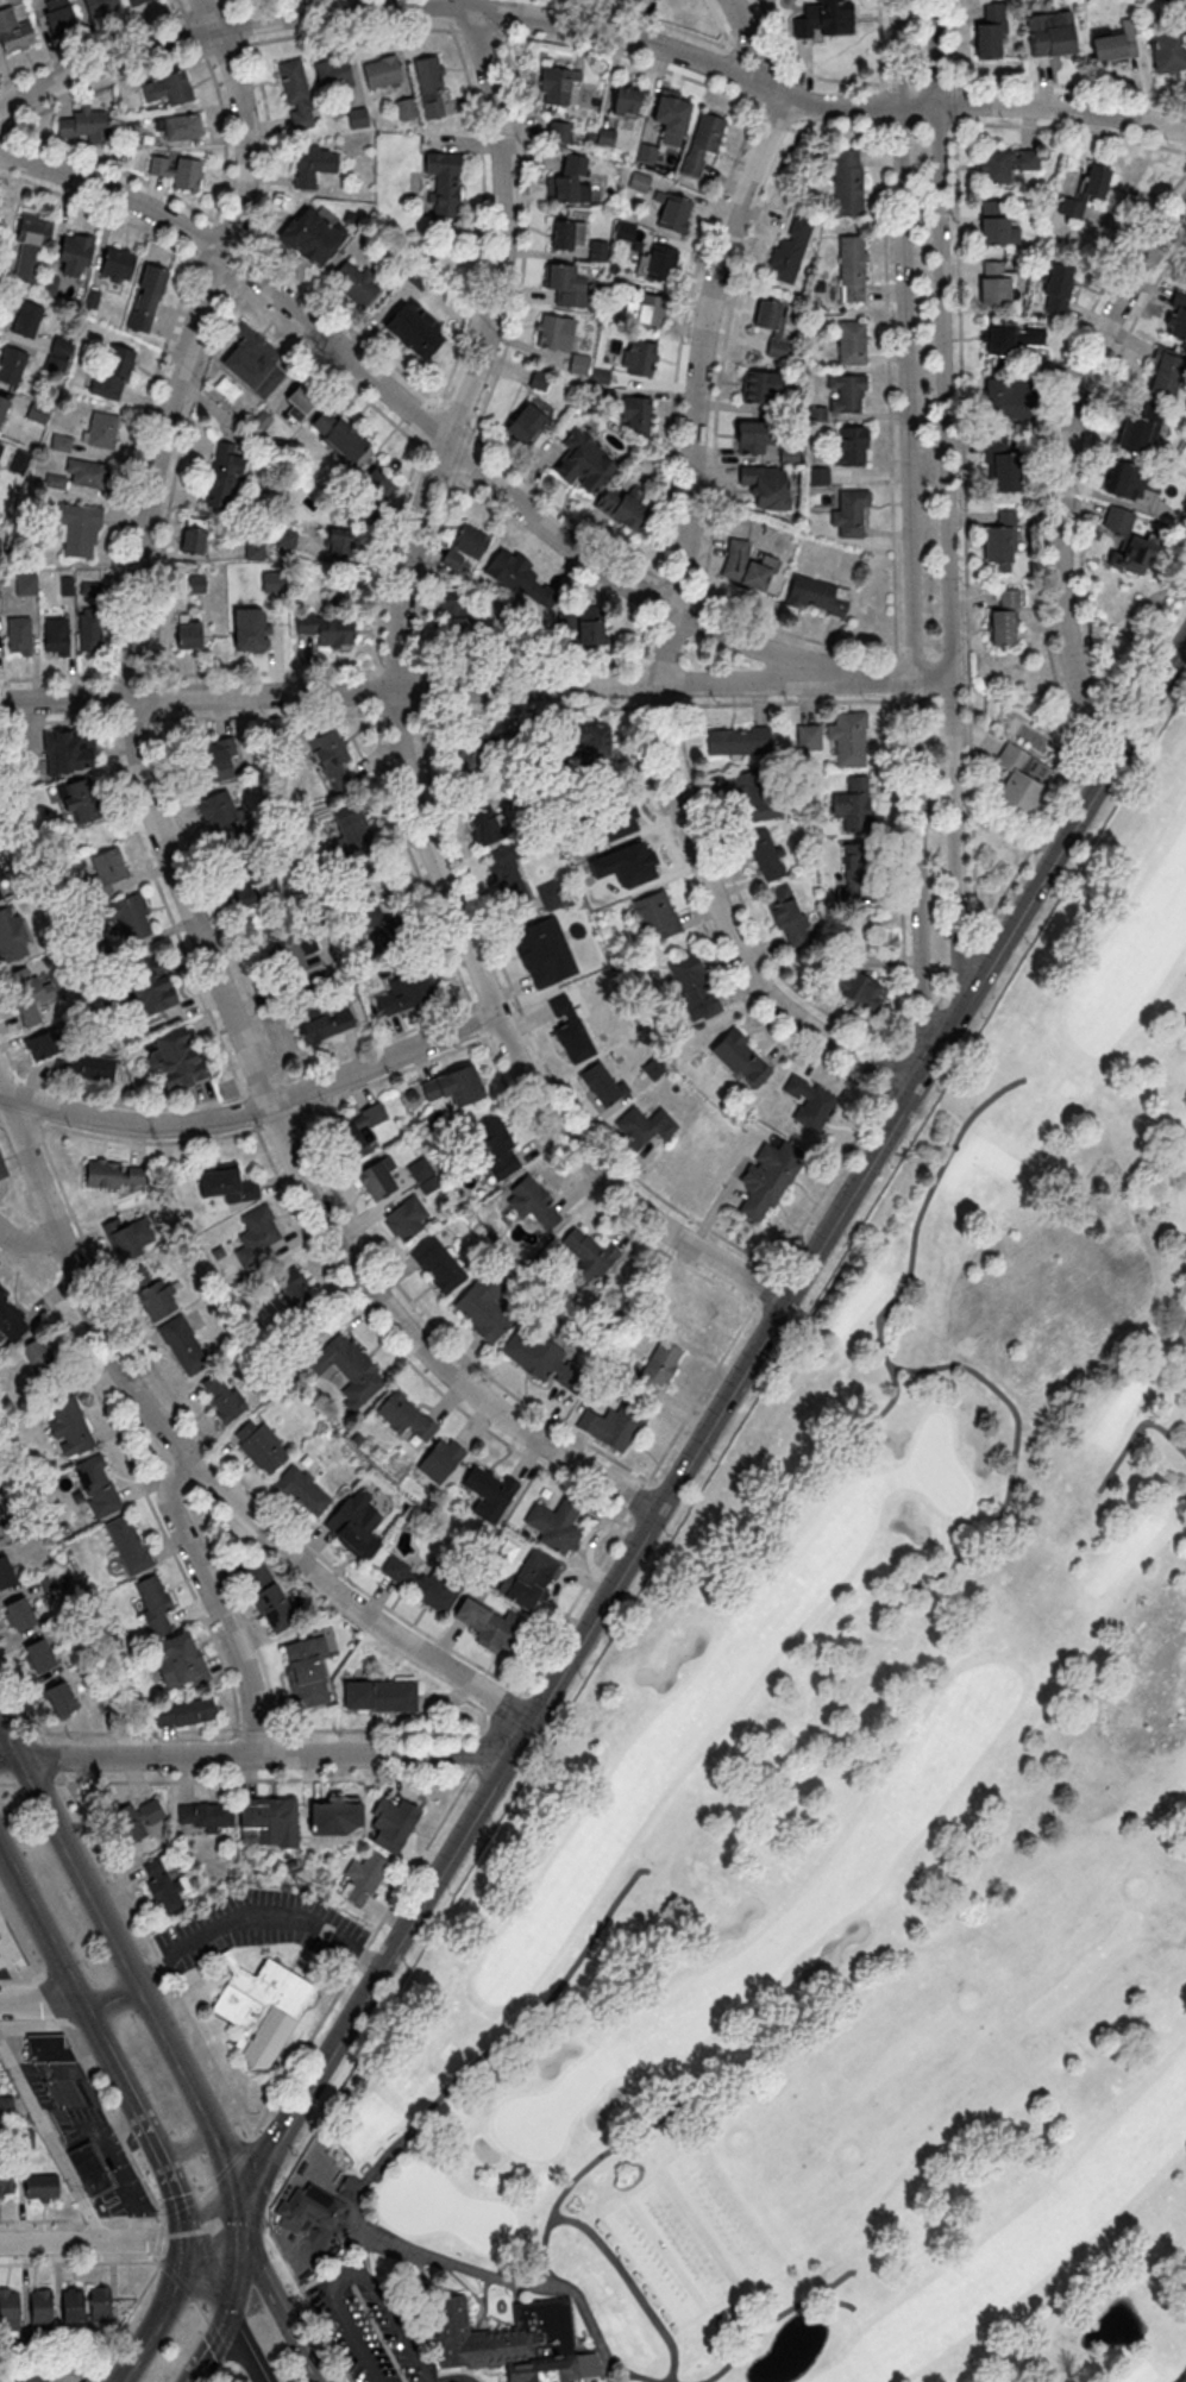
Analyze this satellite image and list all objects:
building: (133, 1)
road: (233, 2)
building: (99, 7)
road: (202, 8)
road: (181, 10)
road: (444, 10)
building: (830, 10)
road: (492, 11)
building: (57, 14)
road: (652, 18)
road: (350, 29)
road: (476, 31)
road: (592, 31)
building: (990, 31)
building: (13, 32)
road: (193, 32)
building: (1049, 32)
building: (1112, 40)
road: (92, 44)
road: (880, 44)
road: (954, 46)
road: (729, 48)
road: (227, 49)
building: (1168, 50)
road: (755, 51)
road: (783, 52)
building: (381, 71)
building: (332, 73)
road: (804, 73)
road: (918, 81)
road: (108, 83)
building: (558, 84)
road: (1067, 84)
building: (429, 86)
building: (167, 87)
building: (295, 93)
building: (625, 100)
road: (881, 105)
road: (956, 106)
building: (404, 107)
road: (2, 114)
building: (671, 115)
building: (357, 117)
road: (760, 117)
road: (777, 121)
building: (82, 124)
road: (917, 125)
building: (177, 126)
road: (268, 126)
road: (1068, 128)
road: (10, 130)
road: (795, 130)
building: (558, 131)
road: (225, 134)
building: (605, 137)
building: (702, 142)
road: (5, 147)
building: (646, 152)
building: (1004, 163)
building: (313, 164)
road: (120, 170)
building: (176, 170)
building: (570, 180)
building: (443, 181)
building: (847, 181)
building: (1084, 190)
road: (715, 206)
building: (672, 210)
road: (106, 212)
road: (14, 213)
road: (484, 218)
building: (994, 224)
road: (233, 230)
building: (623, 230)
building: (566, 234)
building: (310, 235)
road: (526, 235)
road: (208, 240)
building: (31, 245)
building: (597, 250)
building: (787, 252)
building: (74, 253)
building: (657, 263)
building: (115, 264)
road: (243, 268)
building: (851, 268)
road: (218, 274)
building: (418, 276)
building: (354, 282)
building: (994, 282)
building: (566, 284)
building: (1055, 288)
building: (149, 291)
building: (644, 310)
road: (730, 318)
building: (25, 319)
road: (345, 322)
building: (1178, 323)
building: (772, 325)
building: (550, 328)
building: (413, 331)
building: (1011, 337)
building: (851, 341)
building: (252, 360)
building: (636, 362)
building: (11, 363)
road: (331, 367)
building: (1165, 371)
building: (111, 375)
building: (760, 385)
building: (847, 392)
road: (891, 392)
building: (1004, 396)
building: (299, 401)
building: (2, 406)
building: (635, 414)
road: (456, 417)
road: (416, 419)
building: (525, 422)
road: (429, 425)
building: (1140, 428)
building: (101, 429)
building: (341, 436)
building: (753, 436)
building: (851, 445)
road: (1046, 448)
building: (789, 453)
road: (463, 458)
building: (584, 461)
road: (133, 464)
road: (440, 464)
road: (1062, 467)
road: (1087, 467)
building: (1004, 471)
building: (86, 472)
building: (817, 474)
building: (222, 476)
road: (175, 477)
building: (1122, 478)
building: (765, 485)
building: (378, 488)
road: (946, 503)
building: (623, 507)
road: (563, 510)
building: (851, 513)
road: (964, 521)
building: (77, 528)
road: (909, 533)
building: (285, 538)
building: (193, 539)
building: (999, 539)
building: (340, 541)
building: (1130, 543)
building: (465, 548)
building: (253, 549)
road: (389, 555)
road: (550, 555)
building: (745, 565)
road: (428, 572)
building: (515, 577)
building: (195, 583)
road: (678, 583)
building: (25, 584)
road: (679, 589)
road: (653, 595)
building: (817, 595)
road: (697, 596)
building: (458, 616)
building: (1003, 622)
building: (582, 624)
road: (665, 624)
building: (326, 628)
building: (188, 630)
building: (90, 633)
building: (18, 635)
building: (55, 635)
building: (245, 635)
road: (801, 635)
road: (641, 639)
road: (1149, 653)
road: (909, 656)
road: (522, 667)
road: (394, 670)
road: (263, 672)
road: (136, 674)
road: (63, 677)
road: (897, 678)
road: (895, 680)
road: (638, 685)
road: (419, 687)
road: (377, 689)
road: (412, 689)
road: (677, 691)
road: (153, 697)
road: (115, 698)
road: (909, 699)
road: (786, 702)
road: (658, 705)
road: (528, 708)
road: (397, 711)
road: (396, 714)
road: (269, 715)
road: (139, 718)
road: (63, 722)
road: (1105, 727)
building: (808, 736)
building: (848, 737)
building: (738, 740)
building: (584, 743)
building: (68, 750)
building: (470, 756)
building: (331, 758)
building: (209, 760)
building: (1017, 779)
building: (752, 798)
building: (77, 800)
building: (853, 803)
building: (217, 811)
building: (352, 823)
road: (157, 837)
road: (1035, 840)
building: (765, 854)
road: (413, 857)
building: (854, 871)
building: (105, 872)
building: (508, 874)
building: (240, 888)
building: (0, 893)
building: (548, 894)
road: (212, 899)
road: (169, 910)
building: (382, 912)
building: (654, 915)
building: (786, 915)
building: (121, 916)
road: (708, 931)
building: (11, 936)
building: (540, 953)
building: (296, 961)
building: (149, 983)
building: (692, 985)
building: (856, 987)
building: (407, 991)
road: (945, 992)
building: (30, 993)
road: (484, 1000)
road: (478, 1020)
building: (320, 1022)
building: (570, 1027)
road: (532, 1031)
road: (496, 1033)
road: (862, 1033)
road: (909, 1039)
road: (379, 1042)
road: (892, 1055)
road: (10, 1058)
building: (175, 1058)
building: (741, 1058)
building: (86, 1067)
building: (653, 1067)
road: (891, 1074)
road: (920, 1074)
road: (390, 1076)
building: (602, 1083)
building: (454, 1085)
road: (265, 1088)
road: (290, 1096)
building: (809, 1101)
road: (133, 1104)
road: (32, 1106)
road: (253, 1111)
road: (250, 1113)
road: (21, 1118)
road: (277, 1123)
building: (358, 1126)
building: (642, 1126)
road: (44, 1129)
building: (497, 1146)
building: (2, 1168)
building: (101, 1173)
building: (765, 1176)
building: (377, 1179)
building: (227, 1183)
road: (591, 1194)
building: (533, 1201)
building: (404, 1218)
building: (130, 1234)
building: (256, 1236)
road: (29, 1245)
building: (438, 1264)
road: (909, 1269)
building: (136, 1276)
road: (80, 1278)
building: (293, 1287)
road: (764, 1287)
building: (156, 1297)
building: (677, 1305)
building: (483, 1307)
building: (11, 1318)
road: (438, 1327)
building: (182, 1344)
building: (37, 1355)
road: (404, 1356)
building: (538, 1356)
building: (659, 1365)
building: (347, 1369)
road: (156, 1371)
building: (221, 1395)
building: (406, 1415)
building: (609, 1425)
building: (69, 1426)
road: (1132, 1432)
building: (259, 1445)
road: (1012, 1448)
building: (439, 1459)
park: (937, 1464)
building: (96, 1485)
building: (302, 1490)
building: (489, 1491)
road: (167, 1498)
road: (638, 1498)
building: (356, 1522)
building: (557, 1522)
building: (128, 1545)
building: (5, 1572)
road: (184, 1575)
building: (528, 1579)
building: (51, 1583)
building: (416, 1583)
building: (266, 1596)
building: (153, 1603)
road: (575, 1603)
road: (347, 1605)
building: (19, 1614)
road: (591, 1617)
building: (485, 1622)
road: (253, 1641)
road: (234, 1646)
building: (38, 1655)
building: (178, 1661)
building: (306, 1671)
road: (21, 1695)
building: (378, 1695)
road: (447, 1696)
building: (59, 1697)
road: (503, 1703)
building: (183, 1711)
road: (484, 1712)
road: (396, 1730)
road: (237, 1731)
road: (253, 1731)
road: (14, 1734)
road: (476, 1734)
road: (519, 1737)
road: (379, 1754)
road: (475, 1754)
road: (51, 1756)
road: (125, 1758)
road: (261, 1779)
road: (36, 1781)
road: (8, 1783)
park: (855, 1810)
building: (205, 1815)
building: (332, 1815)
building: (134, 1820)
building: (270, 1820)
building: (393, 1823)
road: (73, 1855)
road: (420, 1858)
road: (108, 1865)
building: (362, 1877)
building: (162, 1887)
road: (258, 1915)
parking lot: (263, 1923)
road: (51, 1946)
building: (8, 1948)
road: (362, 1955)
road: (27, 1960)
road: (162, 1965)
road: (376, 1980)
road: (113, 1998)
road: (40, 2000)
road: (49, 2000)
building: (261, 2006)
road: (301, 2053)
road: (212, 2055)
building: (59, 2069)
road: (119, 2073)
road: (99, 2095)
road: (200, 2099)
building: (5, 2104)
road: (142, 2114)
road: (51, 2141)
road: (180, 2149)
road: (261, 2151)
road: (232, 2160)
road: (592, 2160)
road: (378, 2162)
building: (88, 2168)
building: (6, 2183)
building: (40, 2187)
road: (206, 2187)
road: (176, 2193)
road: (181, 2205)
traffic signals: (244, 2207)
building: (306, 2207)
road: (83, 2219)
road: (221, 2235)
road: (102, 2239)
road: (157, 2239)
road: (360, 2254)
road: (79, 2263)
traffic signals: (200, 2263)
road: (237, 2263)
road: (354, 2271)
road: (629, 2284)
road: (212, 2290)
road: (192, 2292)
road: (276, 2296)
road: (830, 2301)
building: (100, 2304)
building: (8, 2305)
building: (40, 2305)
building: (71, 2305)
road: (203, 2312)
road: (124, 2319)
traffic signals: (225, 2319)
road: (772, 2319)
road: (161, 2323)
parking lot: (364, 2326)
building: (508, 2339)
road: (219, 2343)
road: (241, 2350)
road: (209, 2351)
road: (581, 2352)
road: (616, 2367)
road: (459, 2370)
road: (236, 2371)
building: (36, 2375)
road: (640, 2375)
road: (1179, 2375)
road: (429, 2376)

